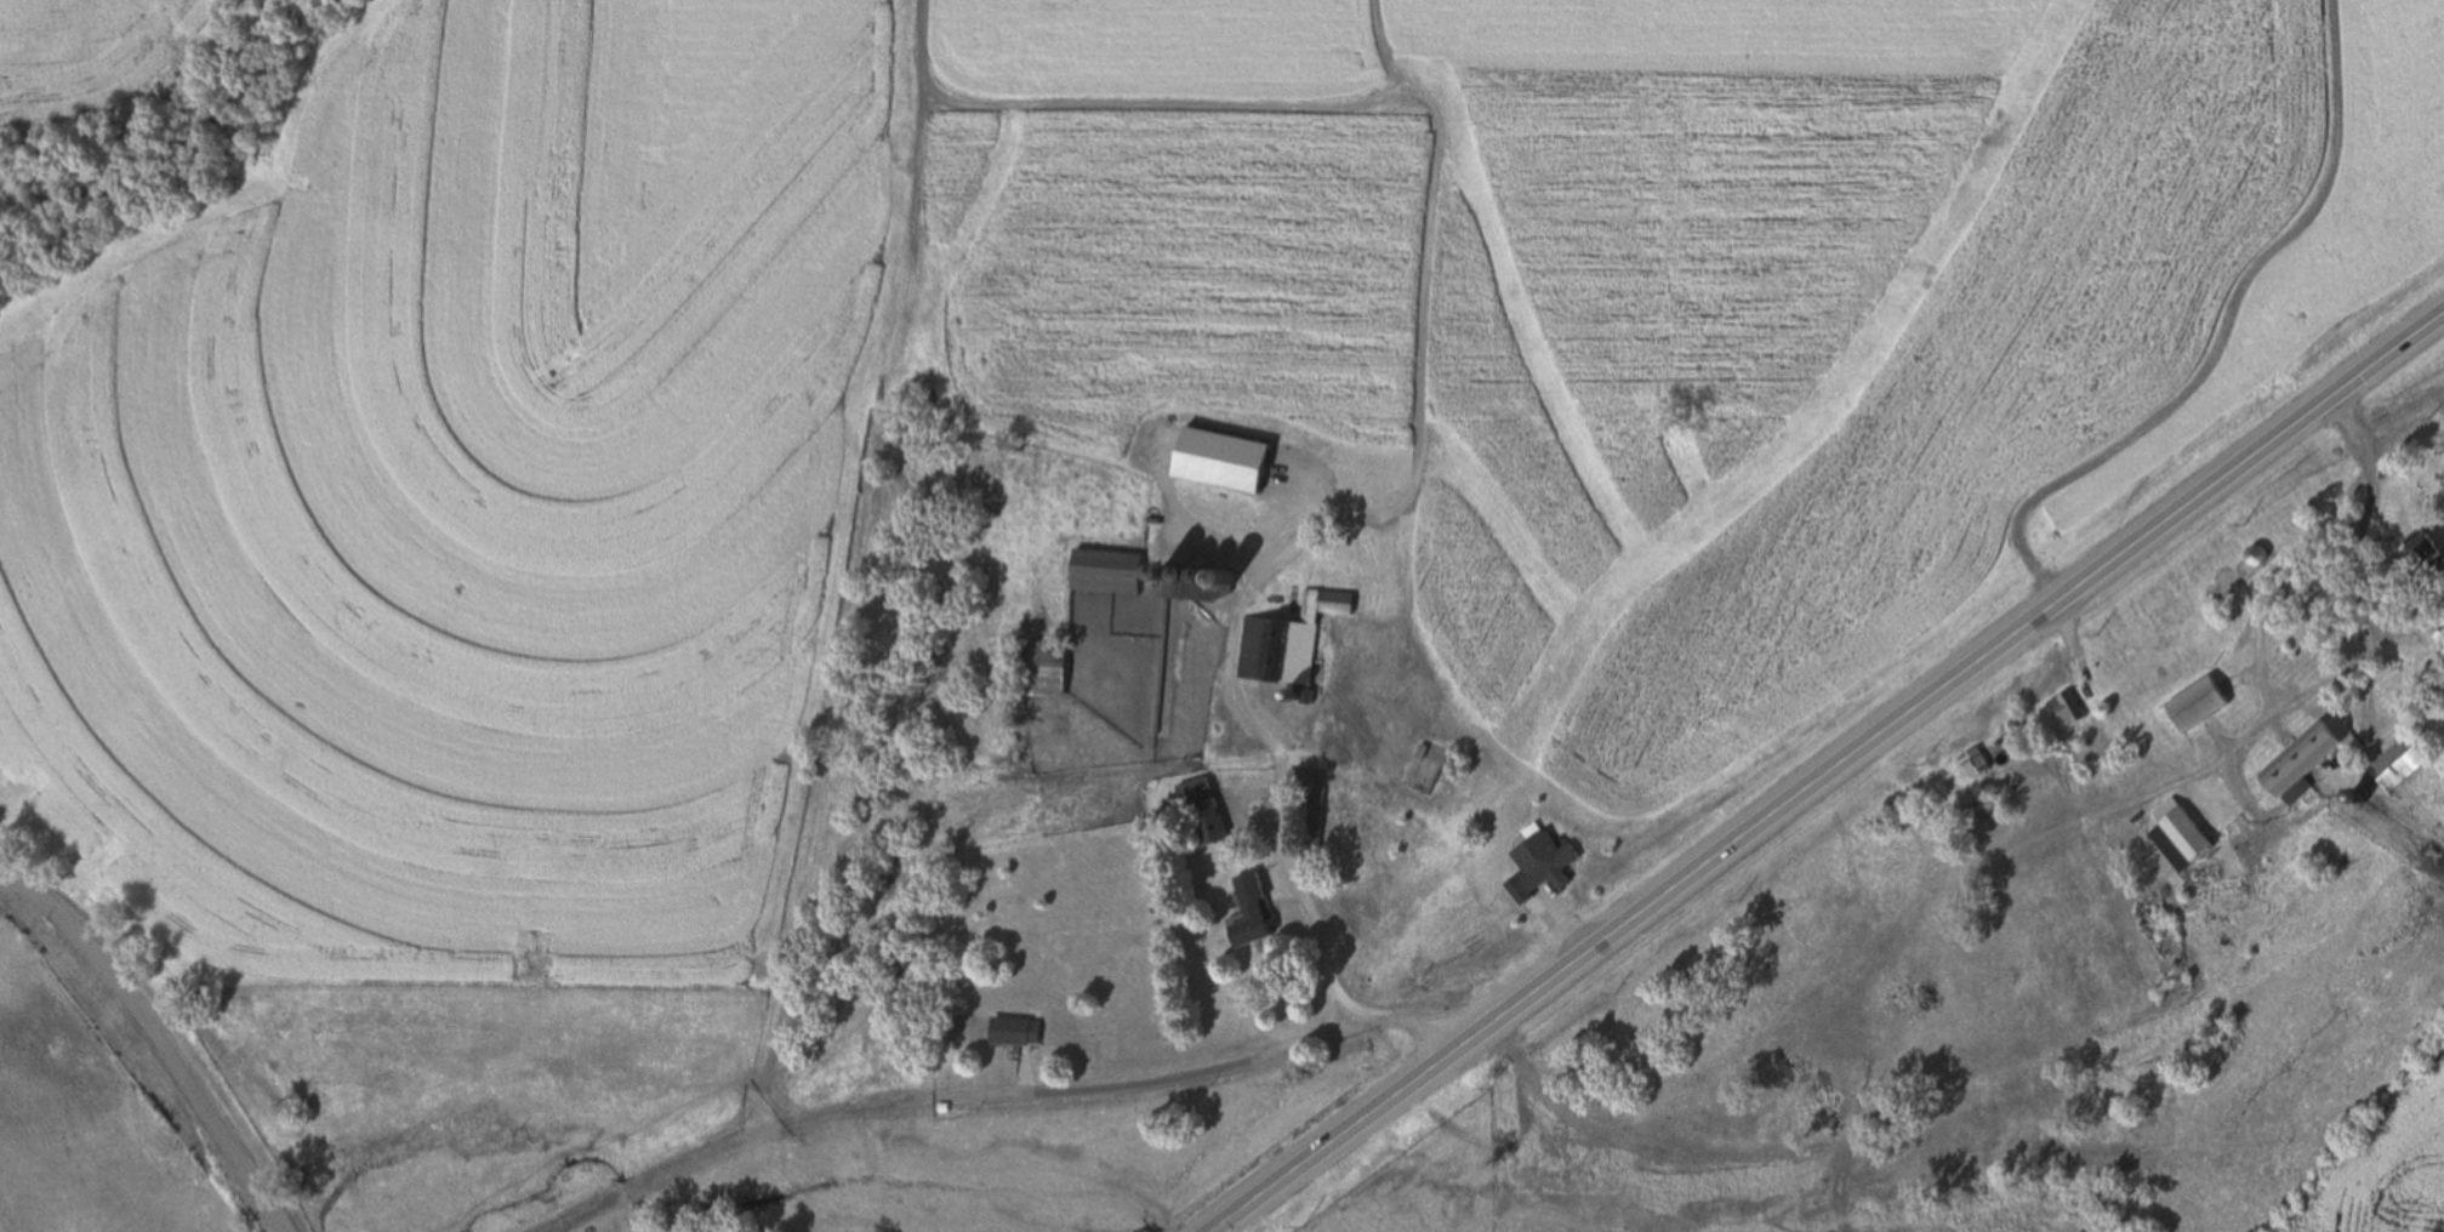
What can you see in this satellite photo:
road: (1133, 109)
road: (1417, 309)
park: (2439, 325)
road: (2221, 338)
building: (1225, 462)
building: (2419, 548)
road: (2355, 549)
building: (2255, 557)
road: (853, 567)
building: (1110, 572)
building: (1196, 598)
road: (2261, 640)
building: (2443, 640)
building: (1287, 644)
road: (2073, 652)
building: (1048, 671)
road: (2317, 686)
building: (1294, 697)
building: (2197, 705)
building: (2066, 711)
building: (2308, 759)
building: (1976, 765)
building: (2398, 765)
road: (1831, 774)
road: (1278, 780)
building: (1206, 809)
building: (1308, 816)
building: (2180, 838)
road: (2027, 843)
building: (1203, 861)
building: (1544, 861)
mineshaft: (904, 866)
building: (2226, 890)
building: (1252, 914)
building: (1014, 1034)
road: (155, 1042)
road: (1170, 1082)
road: (822, 1116)
road: (716, 1156)
road: (631, 1192)
road: (585, 1214)

